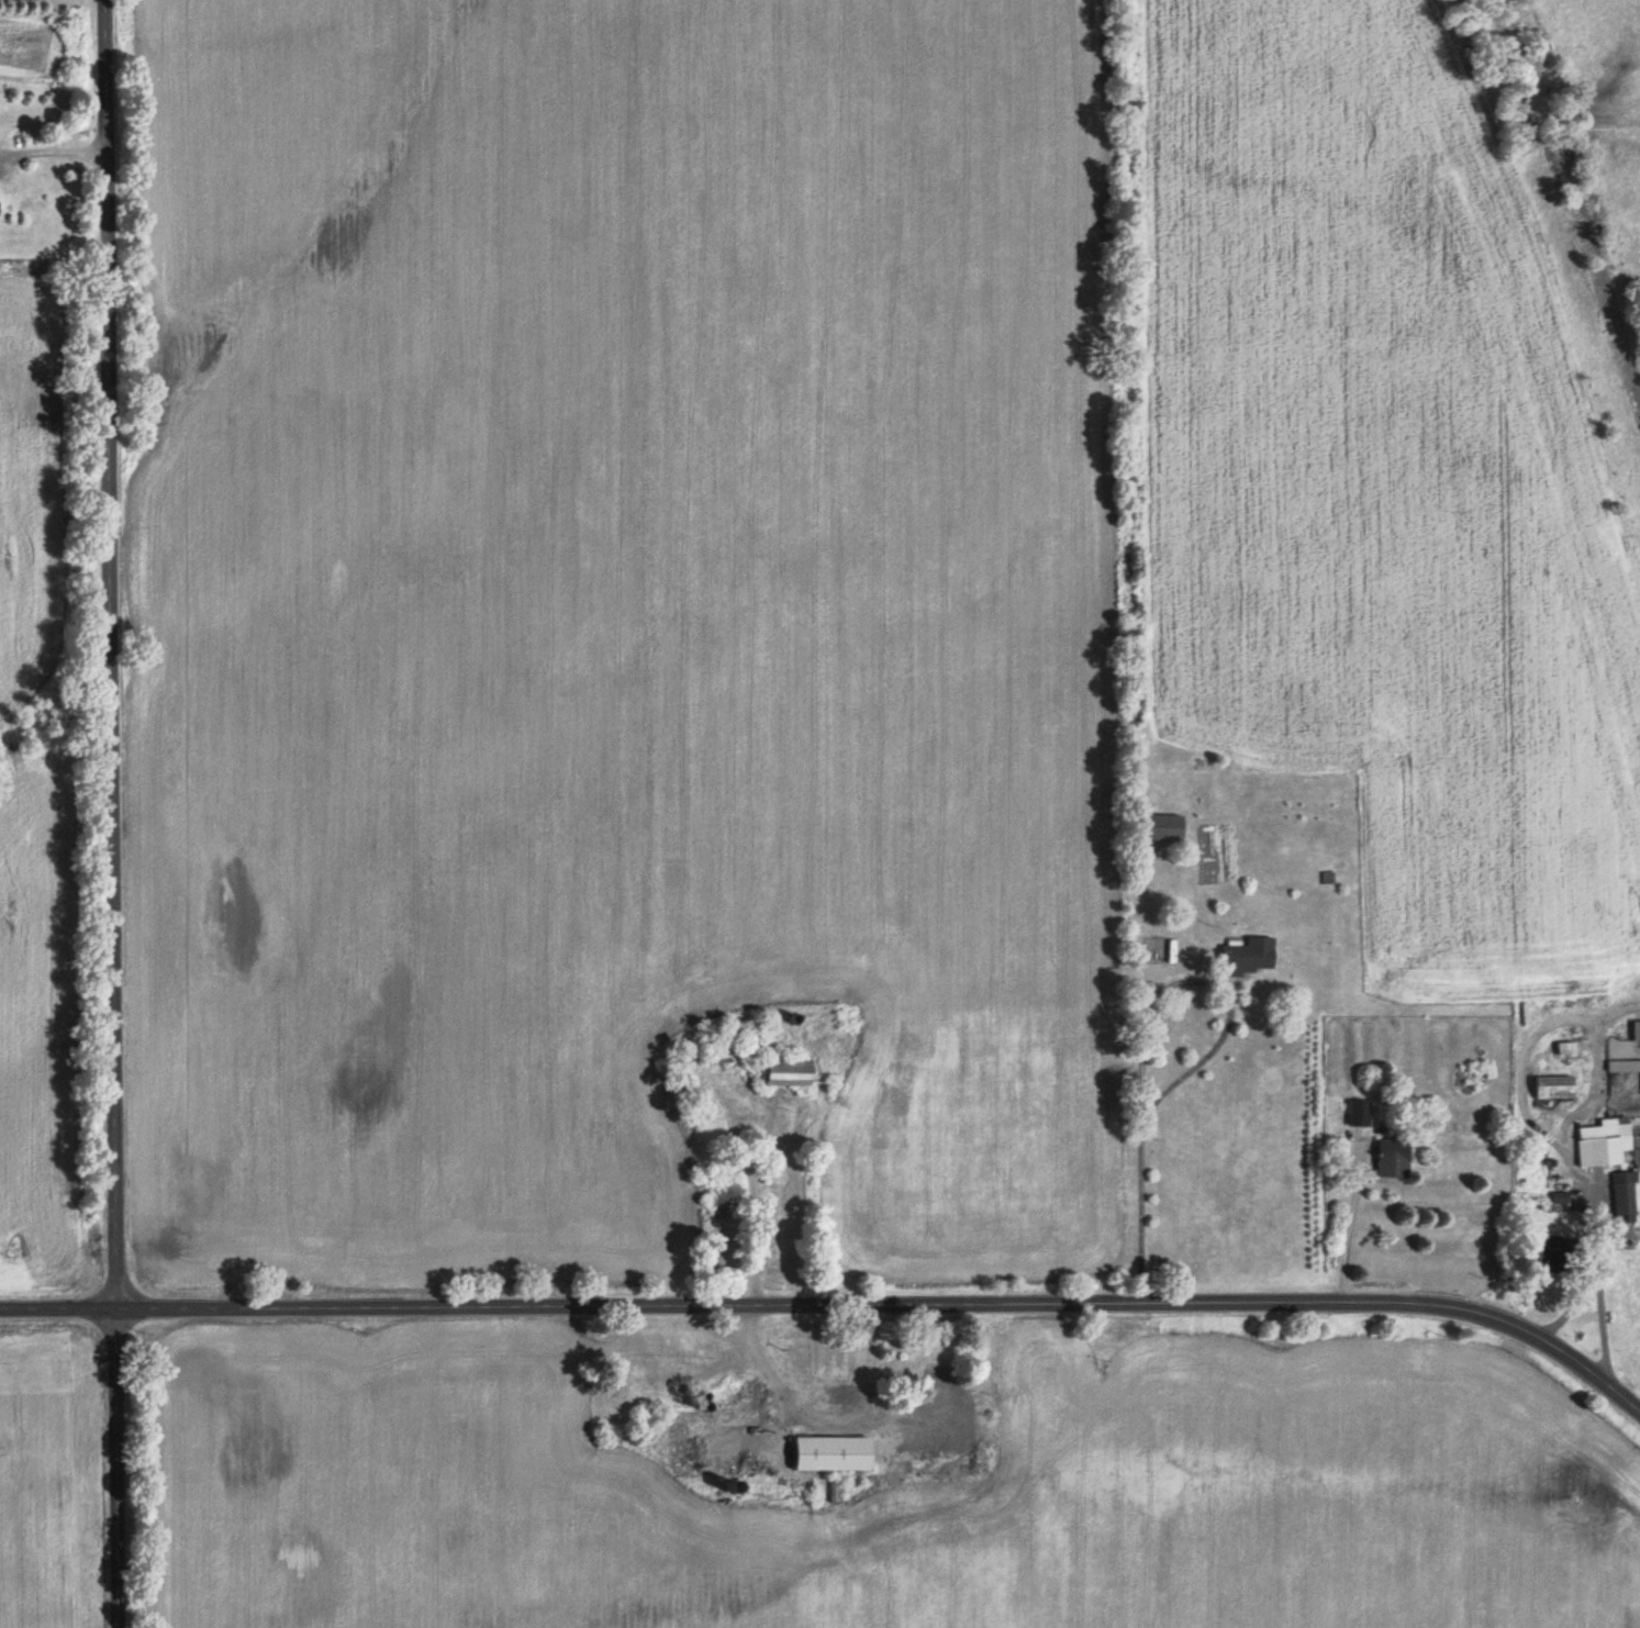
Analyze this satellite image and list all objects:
road: (53, 146)
building: (1, 210)
road: (109, 814)
building: (1161, 827)
building: (1242, 957)
building: (1635, 1032)
building: (751, 1047)
road: (1204, 1051)
building: (1622, 1067)
road: (1593, 1070)
building: (794, 1074)
road: (1521, 1085)
building: (1549, 1088)
building: (1357, 1113)
building: (1602, 1141)
building: (1386, 1159)
building: (1624, 1197)
road: (1346, 1225)
road: (1597, 1257)
road: (834, 1307)
building: (938, 1401)
building: (833, 1454)
building: (691, 1457)

